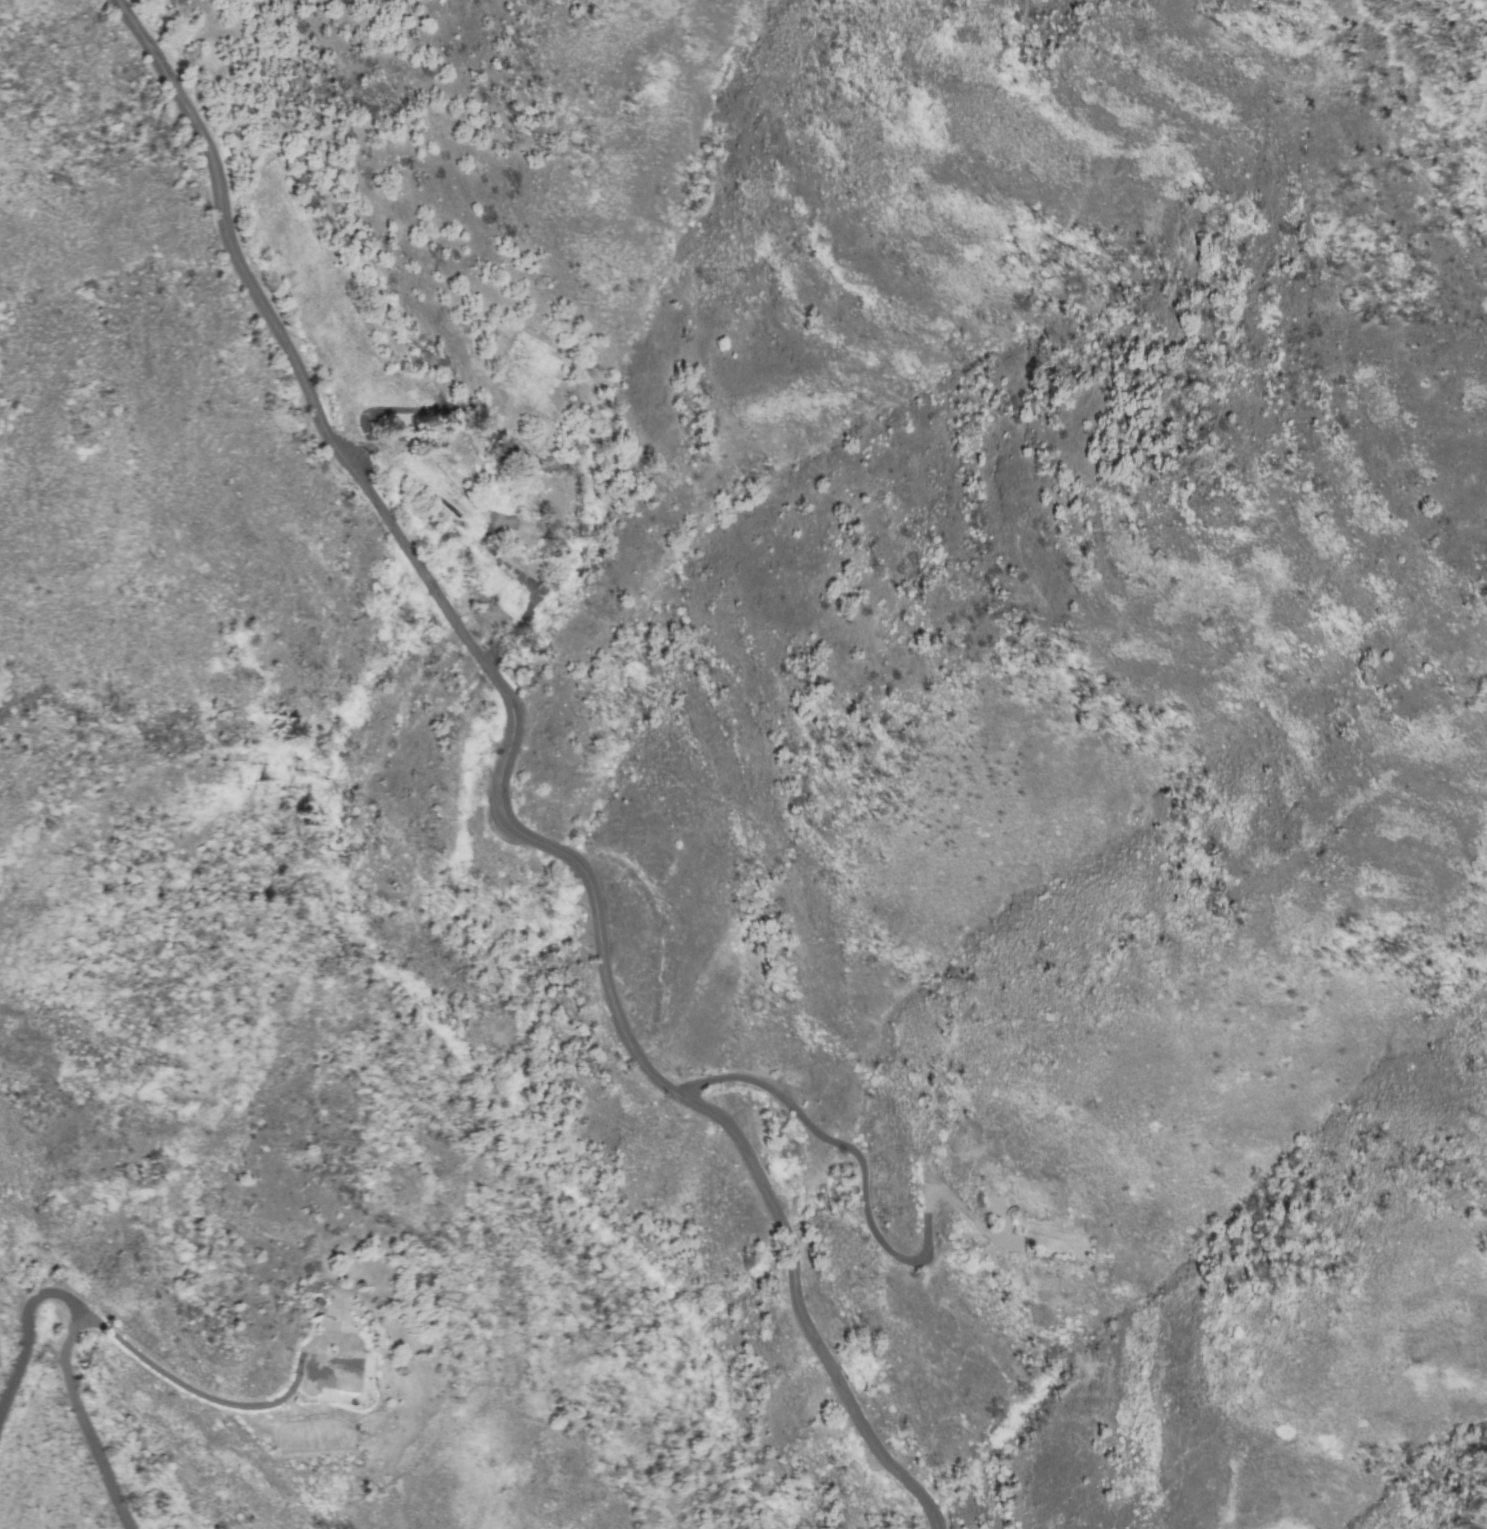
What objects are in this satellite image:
road: (508, 788)
road: (864, 1201)
road: (27, 1323)
road: (115, 1336)

